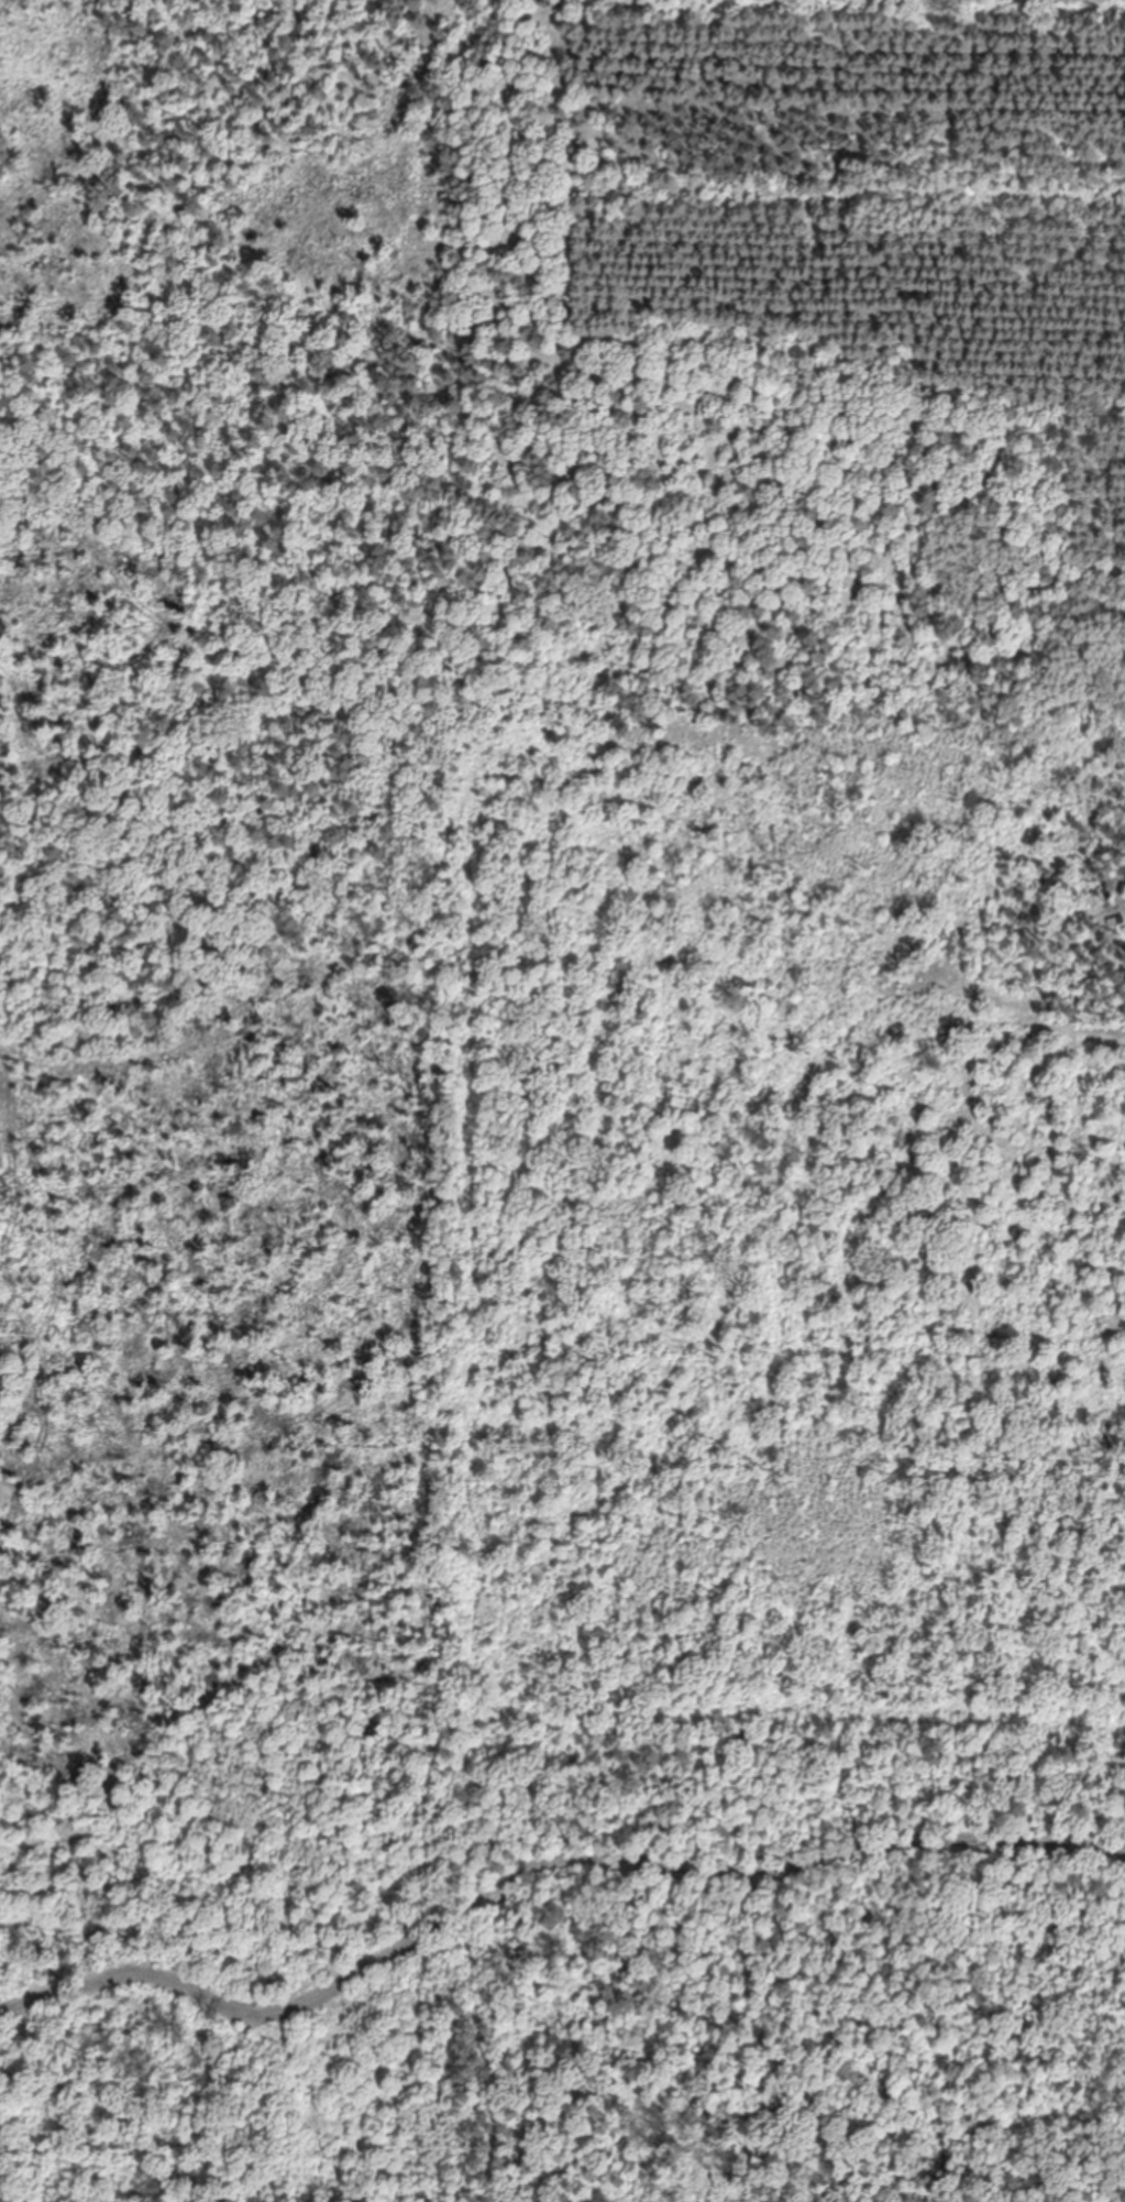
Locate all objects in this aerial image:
road: (464, 319)

